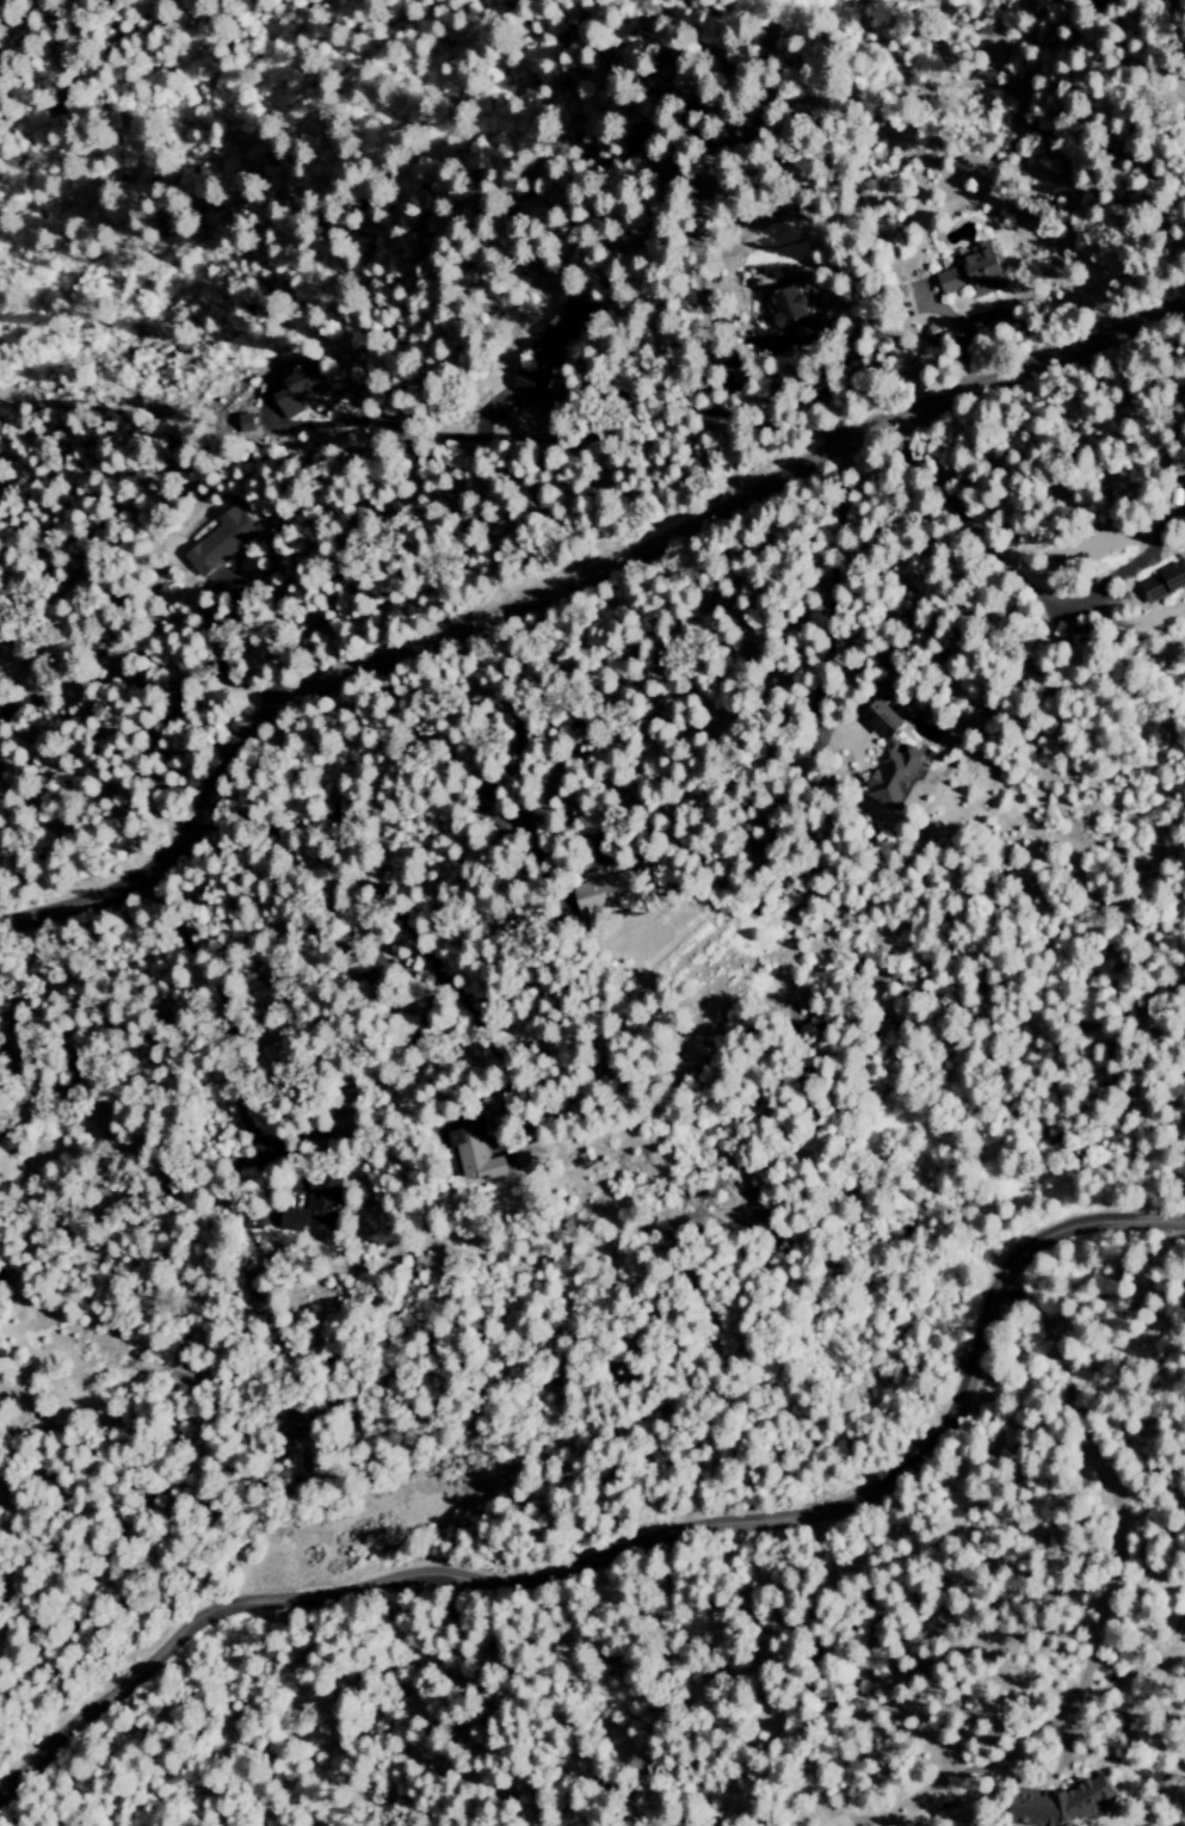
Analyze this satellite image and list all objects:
building: (968, 271)
building: (783, 304)
building: (288, 397)
building: (241, 422)
building: (220, 539)
building: (1160, 582)
road: (567, 585)
building: (885, 757)
building: (598, 895)
building: (474, 1155)
building: (316, 1204)
road: (631, 1541)
building: (1057, 1803)

